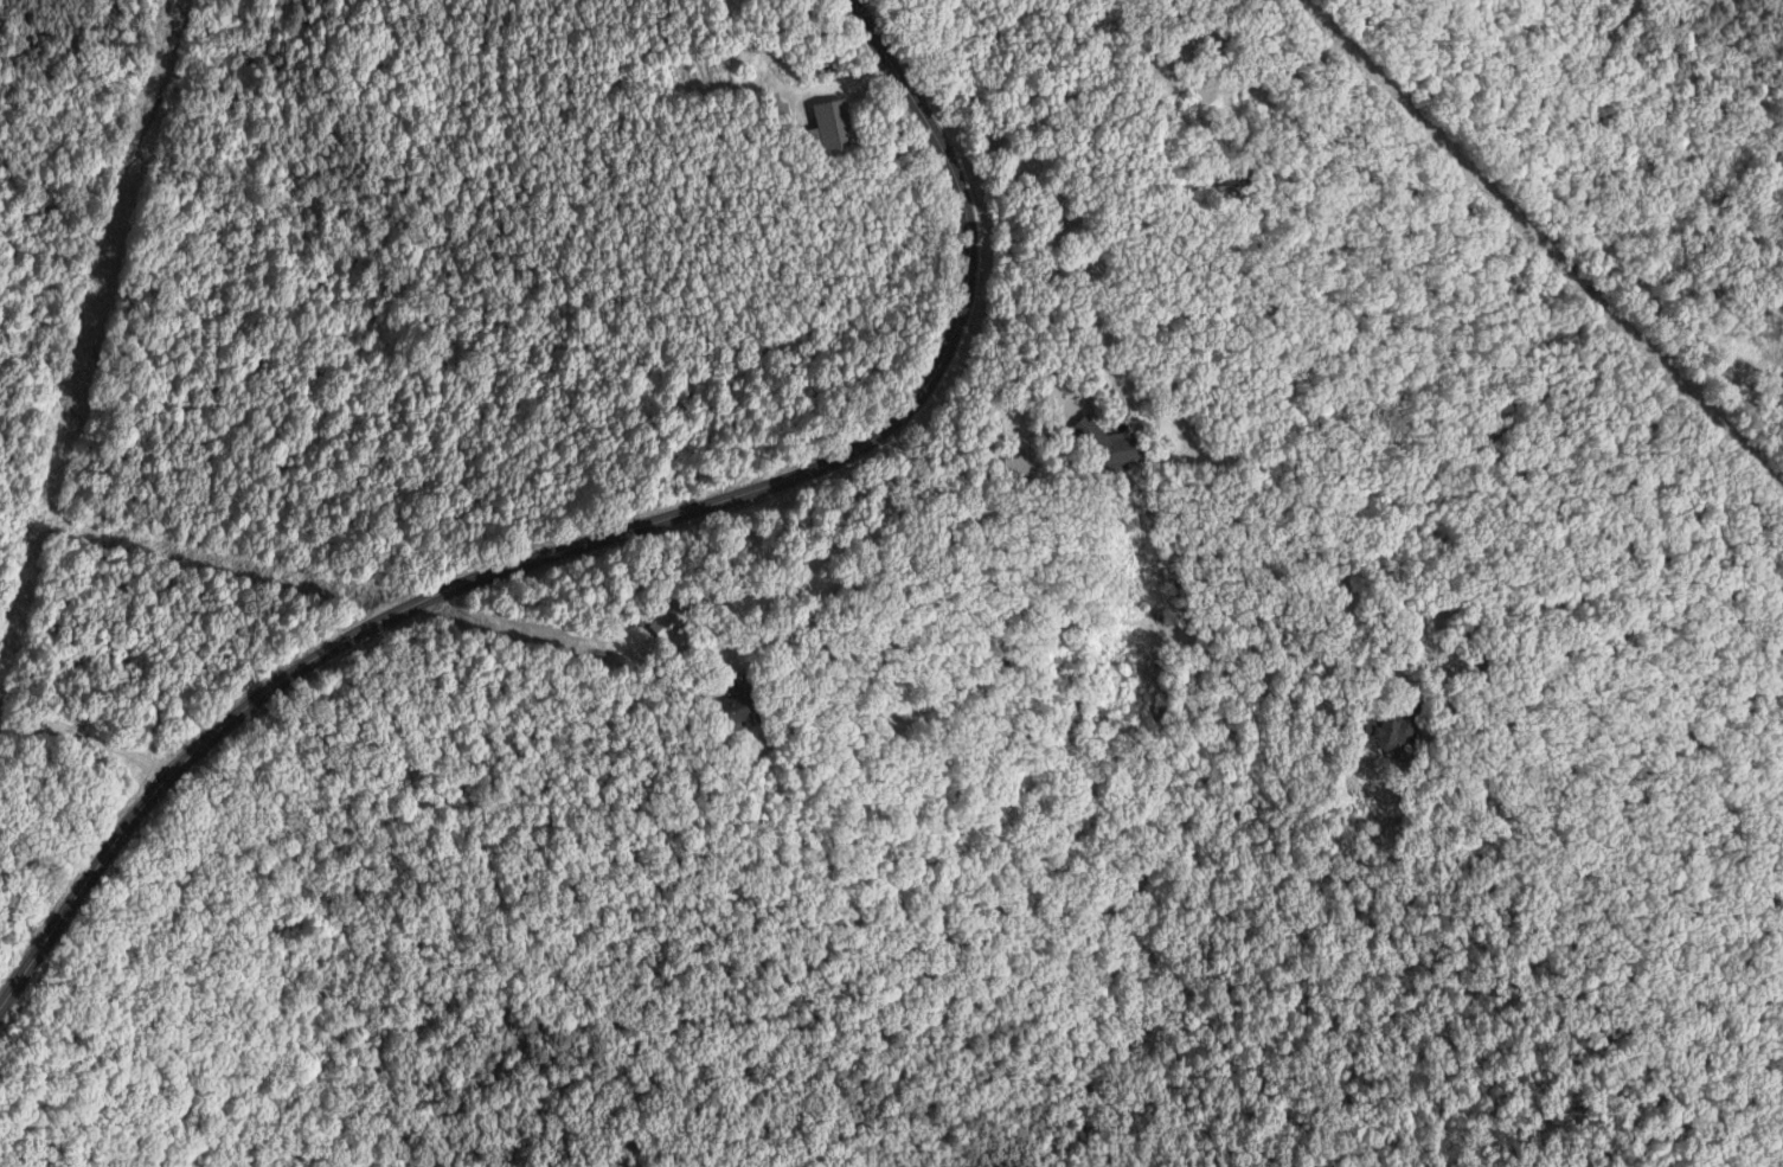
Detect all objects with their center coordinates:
road: (1301, 43)
building: (832, 124)
road: (1582, 222)
road: (1130, 416)
building: (1109, 443)
building: (1020, 467)
road: (590, 536)
road: (810, 538)
building: (673, 621)
building: (748, 704)
building: (1394, 730)
road: (90, 740)

